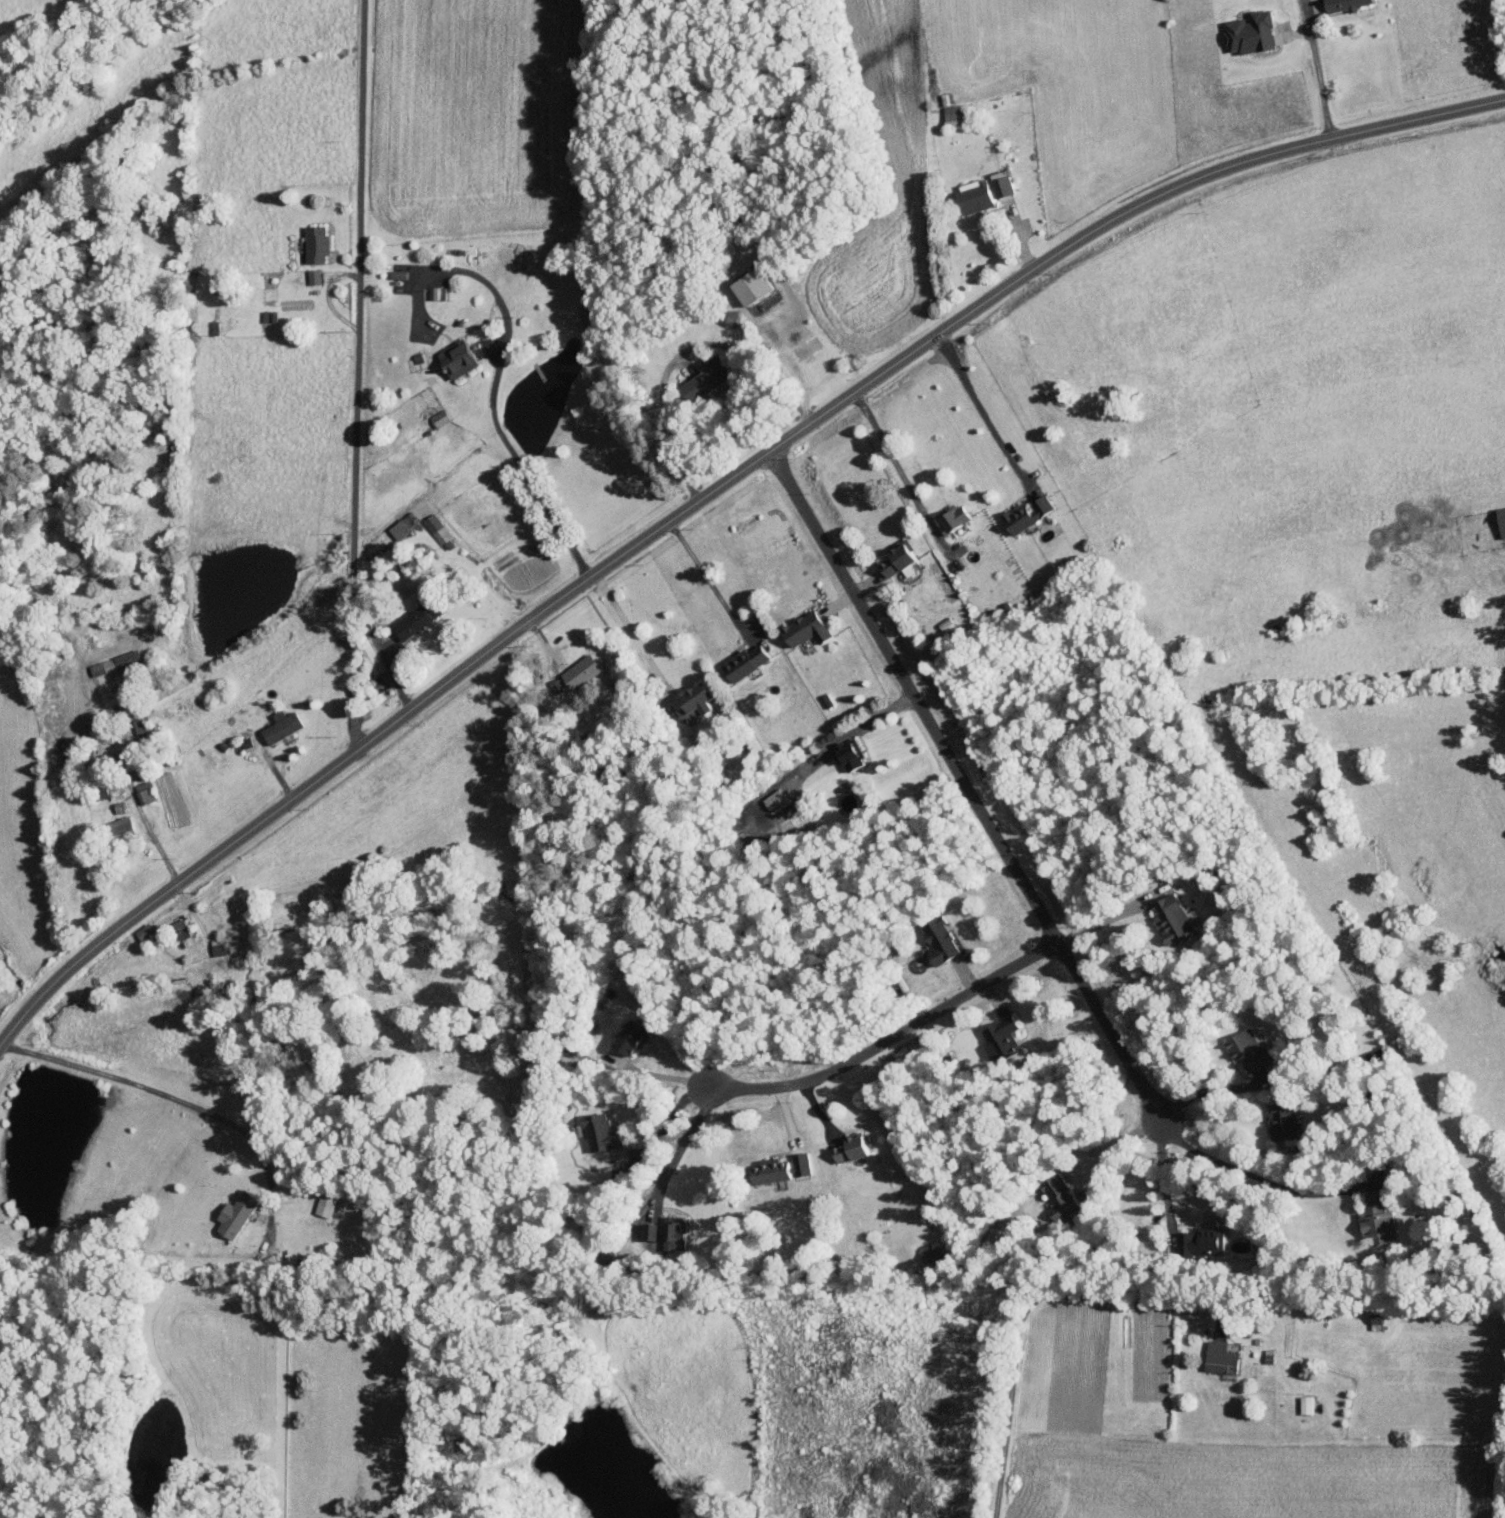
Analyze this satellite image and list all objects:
building: (1347, 5)
building: (1251, 33)
road: (1315, 68)
building: (1002, 184)
building: (976, 196)
building: (317, 242)
building: (314, 276)
building: (753, 285)
building: (434, 292)
road: (686, 351)
building: (459, 357)
road: (340, 376)
building: (707, 378)
road: (493, 382)
road: (982, 410)
building: (439, 417)
road: (900, 461)
road: (707, 492)
building: (1028, 513)
building: (954, 516)
building: (1502, 520)
building: (402, 526)
building: (438, 530)
building: (901, 558)
road: (710, 577)
road: (491, 590)
building: (418, 618)
road: (634, 627)
building: (808, 628)
building: (374, 659)
building: (747, 661)
building: (115, 663)
building: (582, 671)
building: (556, 685)
building: (698, 702)
building: (283, 726)
building: (143, 728)
road: (850, 733)
building: (852, 754)
road: (970, 784)
building: (145, 792)
building: (775, 798)
building: (123, 826)
building: (1176, 919)
road: (1104, 920)
building: (179, 930)
building: (145, 931)
building: (941, 940)
building: (218, 946)
building: (634, 1037)
building: (1002, 1039)
road: (882, 1040)
building: (1248, 1050)
road: (1204, 1090)
road: (162, 1095)
building: (1285, 1120)
road: (659, 1128)
building: (603, 1133)
road: (1218, 1133)
road: (683, 1141)
building: (853, 1148)
road: (1123, 1150)
building: (783, 1168)
road: (1162, 1173)
road: (1256, 1177)
building: (1062, 1197)
building: (325, 1205)
building: (238, 1214)
building: (1378, 1220)
building: (669, 1232)
building: (1203, 1241)
building: (932, 1254)
road: (1023, 1310)
building: (1222, 1358)
building: (1307, 1405)

